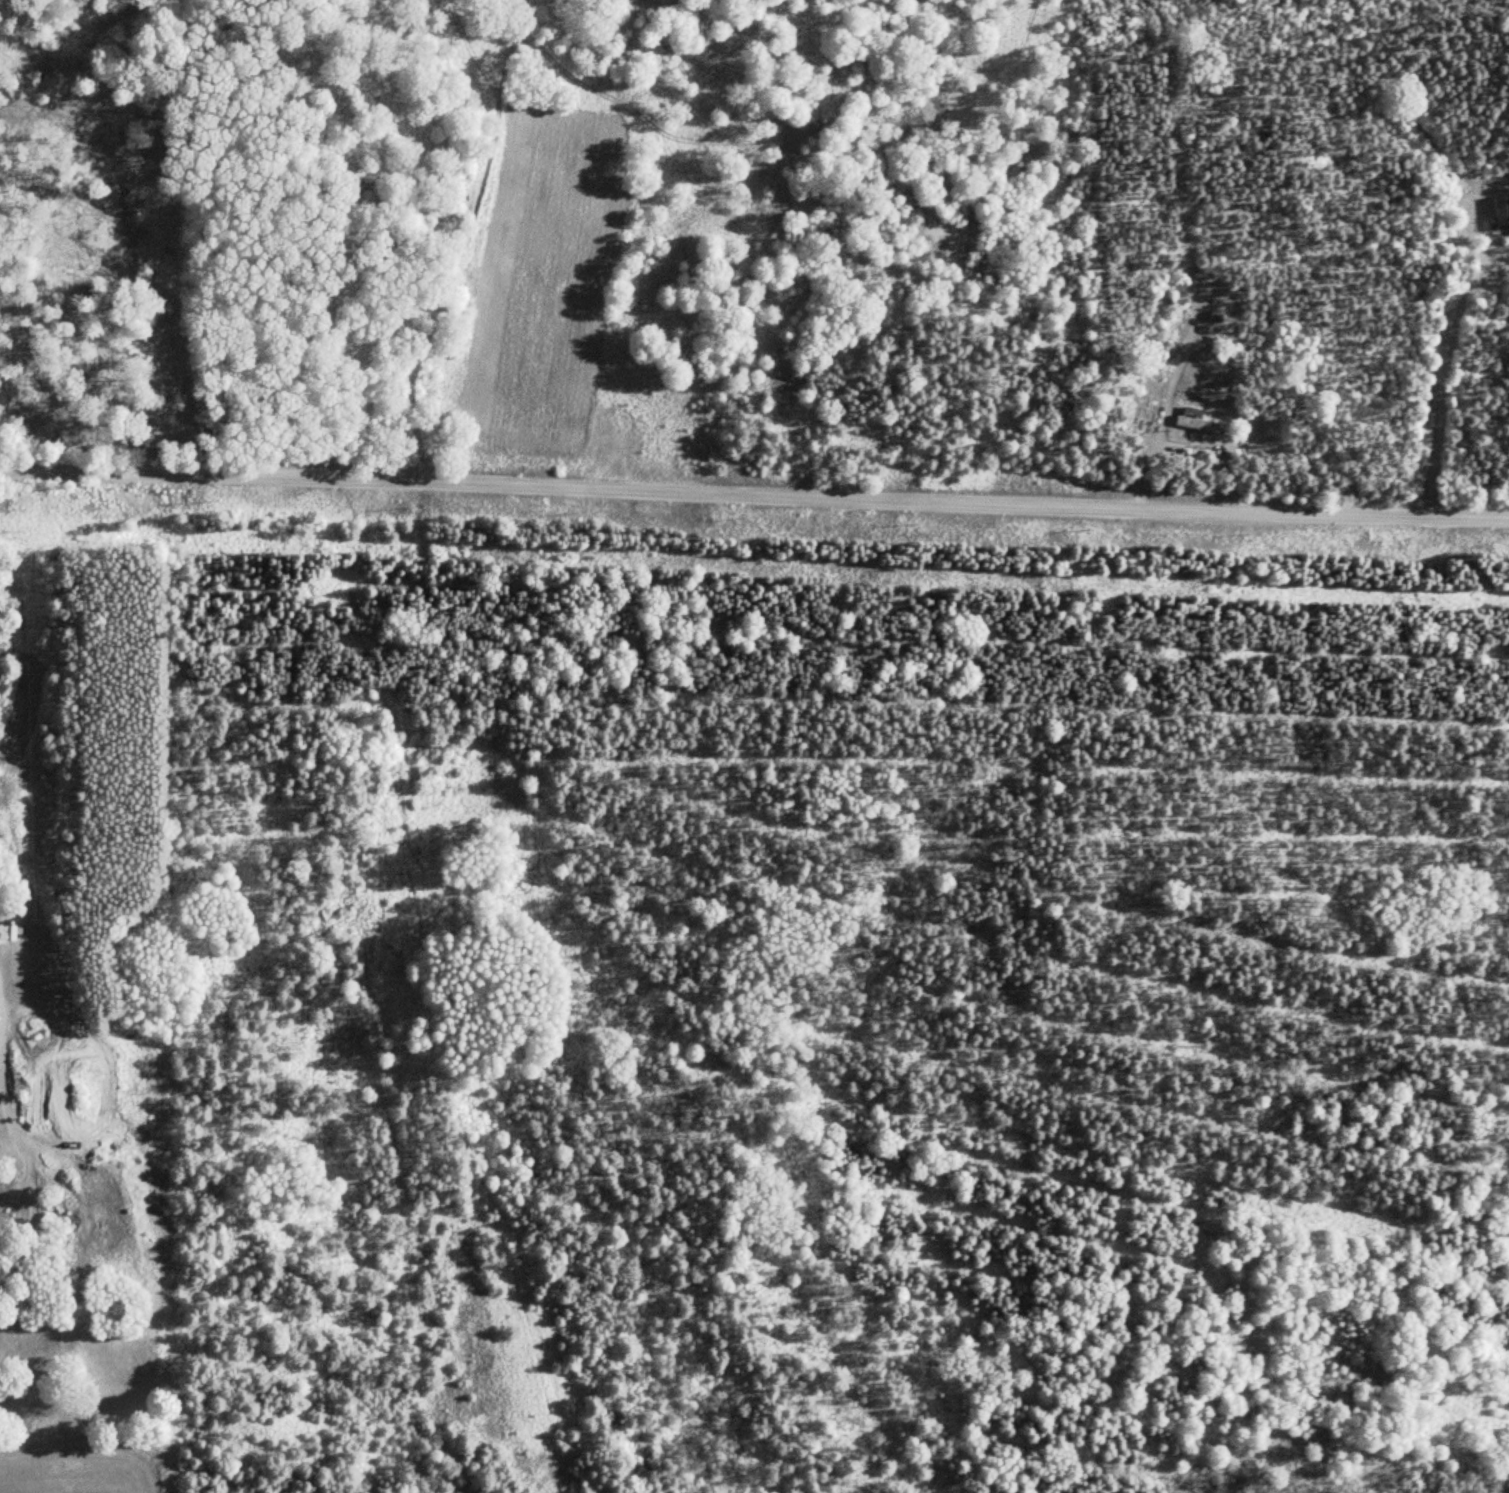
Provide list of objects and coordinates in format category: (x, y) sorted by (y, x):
building: (1500, 212)
building: (1177, 294)
building: (1194, 421)
road: (754, 492)

